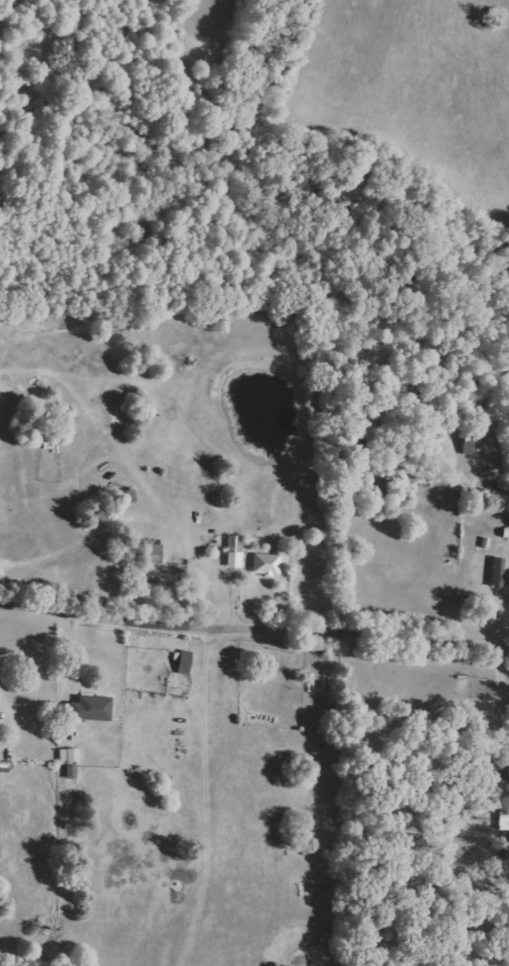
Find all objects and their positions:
building: (235, 550)
building: (153, 553)
building: (267, 564)
building: (498, 572)
building: (487, 608)
road: (254, 628)
building: (185, 662)
building: (90, 709)
building: (73, 755)
building: (4, 766)
building: (72, 772)

